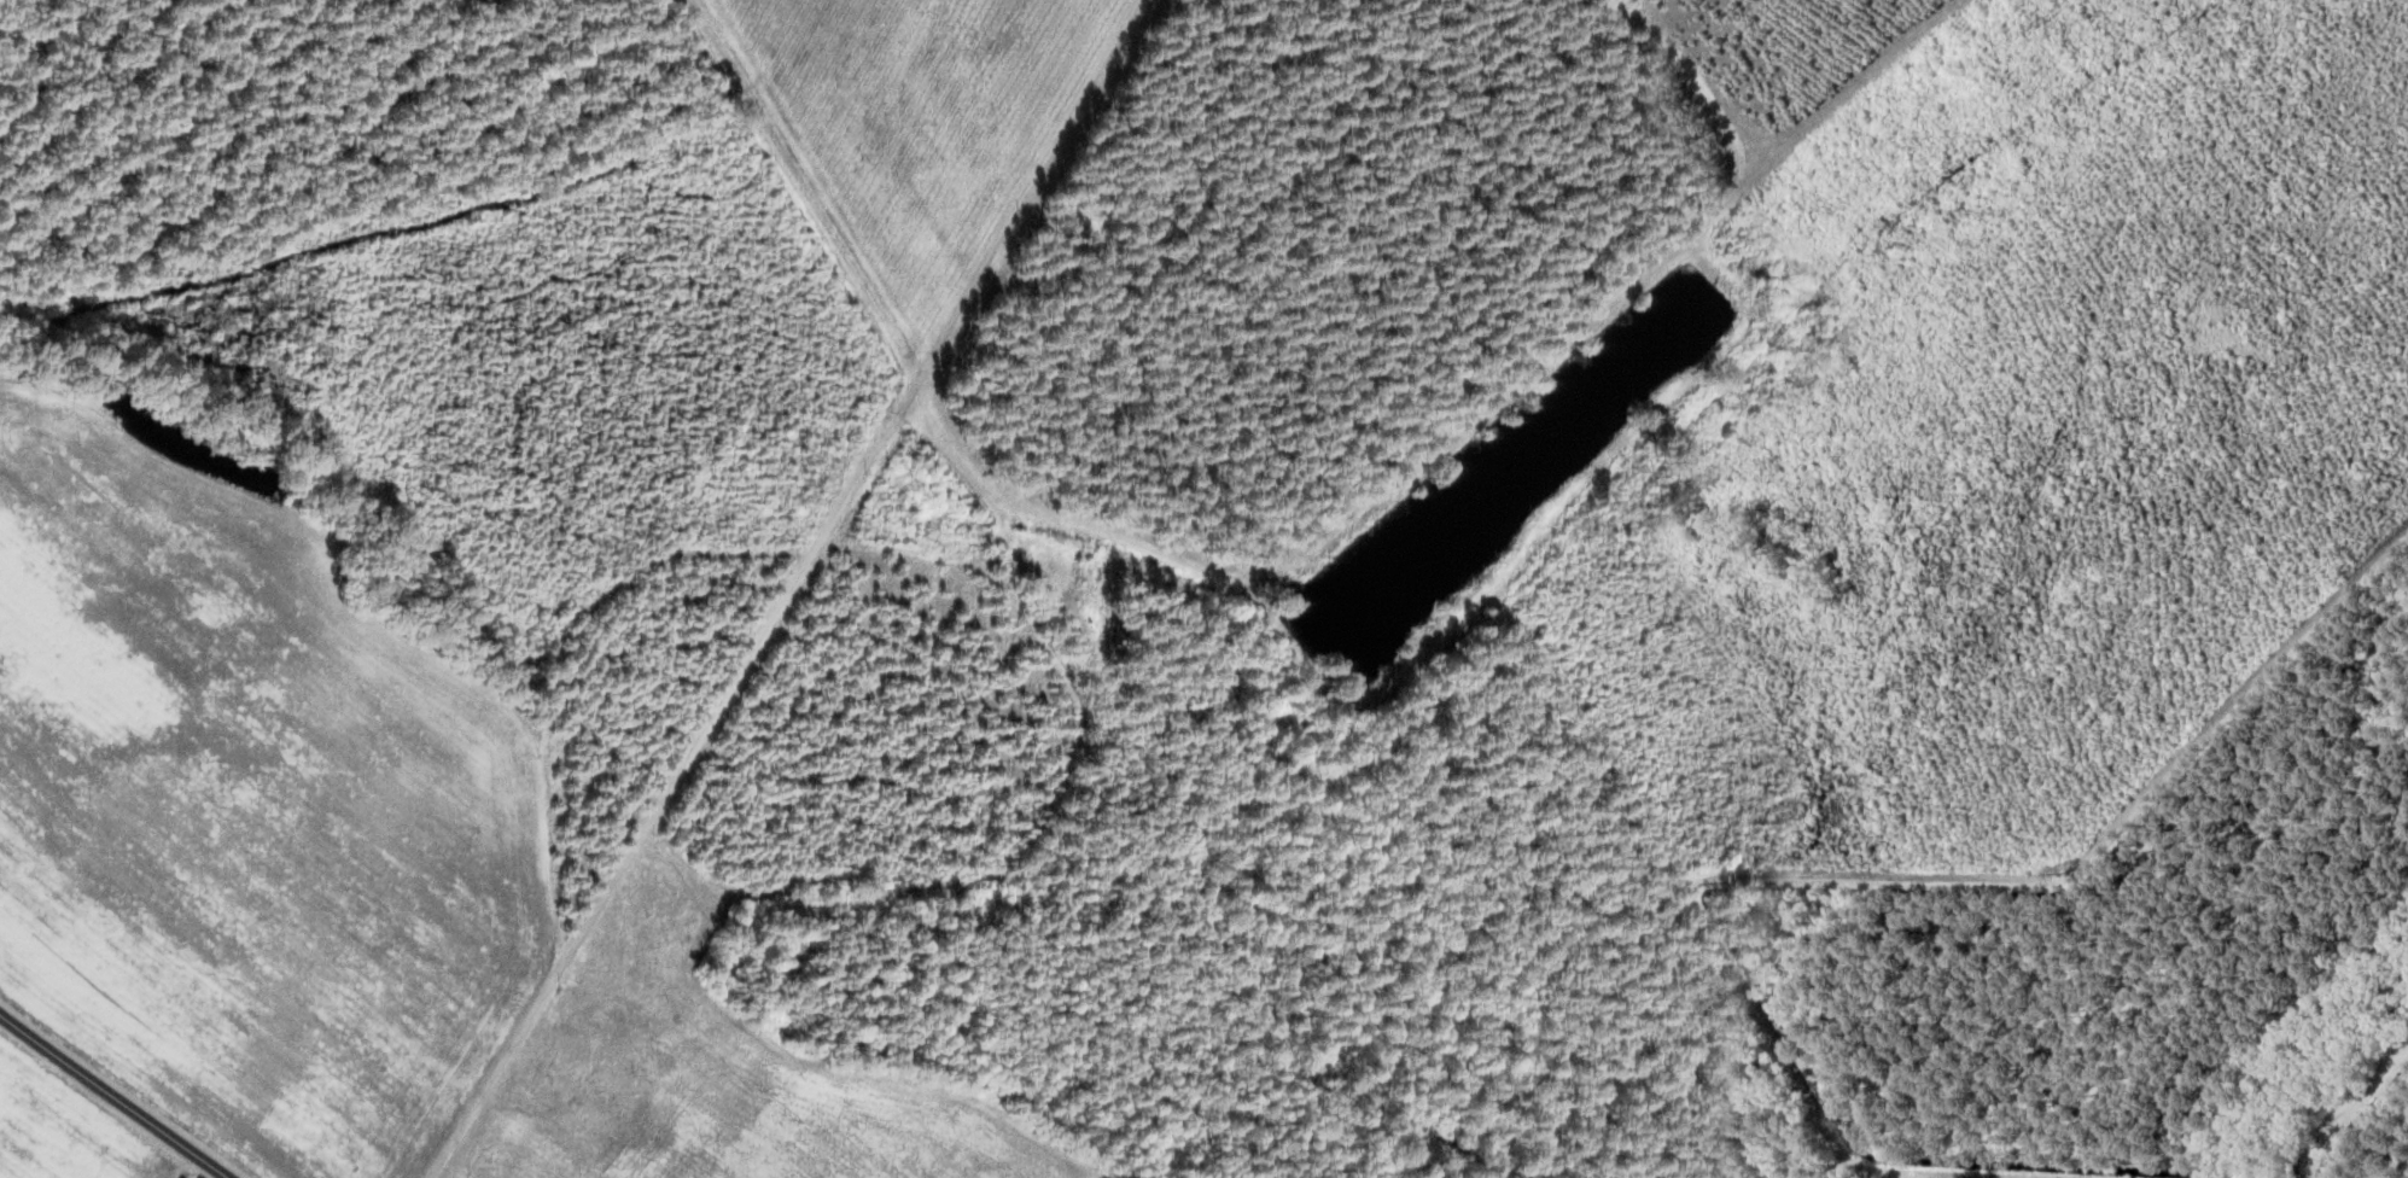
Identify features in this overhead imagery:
road: (692, 571)
road: (118, 1089)

